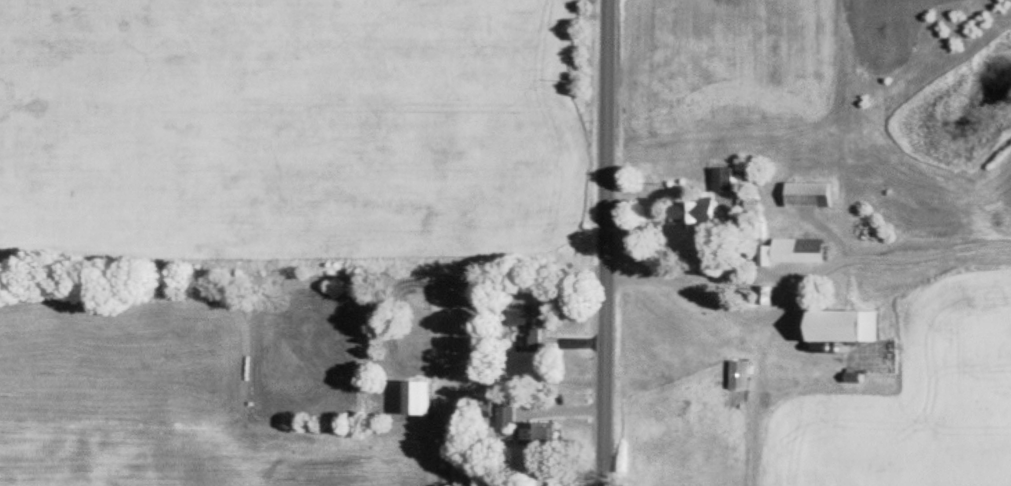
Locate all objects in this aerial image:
building: (723, 180)
building: (805, 195)
building: (690, 210)
road: (600, 243)
building: (792, 251)
road: (707, 296)
building: (836, 326)
building: (524, 328)
building: (736, 375)
building: (412, 398)
building: (505, 416)
building: (536, 433)

